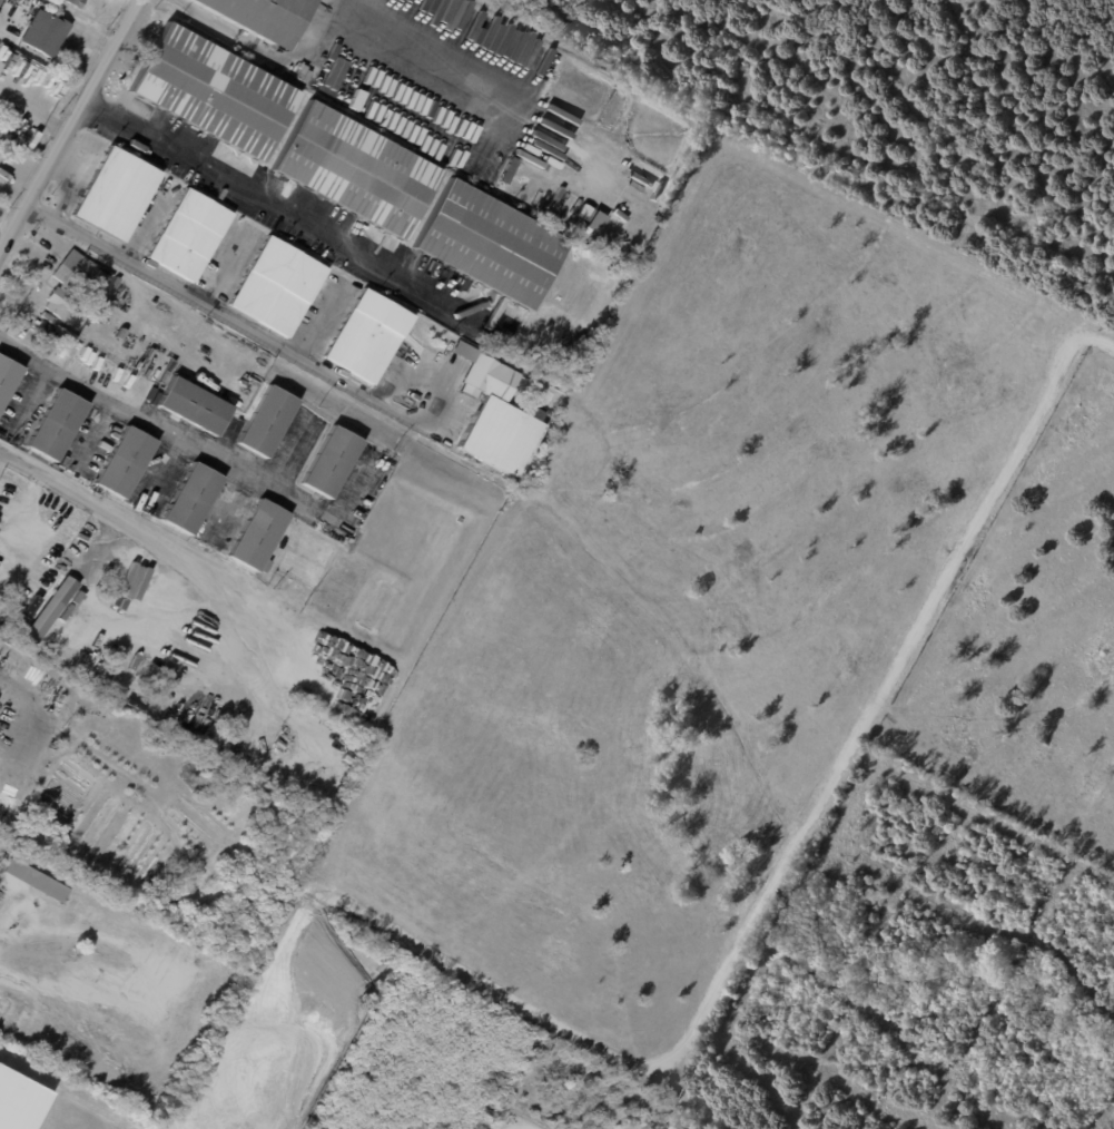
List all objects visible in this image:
building: (0, 1)
building: (73, 2)
building: (256, 16)
road: (204, 19)
building: (45, 32)
road: (294, 59)
building: (211, 91)
road: (37, 112)
road: (73, 135)
building: (353, 170)
building: (505, 171)
building: (114, 194)
building: (507, 195)
road: (296, 216)
building: (188, 235)
building: (487, 245)
building: (276, 286)
building: (66, 288)
building: (368, 336)
building: (50, 344)
road: (284, 347)
building: (7, 377)
building: (489, 380)
building: (565, 381)
building: (193, 405)
building: (266, 422)
building: (56, 425)
road: (162, 426)
building: (500, 439)
building: (125, 462)
building: (331, 462)
building: (190, 499)
road: (24, 519)
building: (257, 536)
road: (187, 561)
building: (75, 595)
building: (29, 606)
building: (49, 609)
building: (65, 611)
building: (167, 671)
road: (24, 718)
building: (353, 738)
building: (279, 744)
building: (361, 744)
building: (36, 881)
building: (19, 1100)

